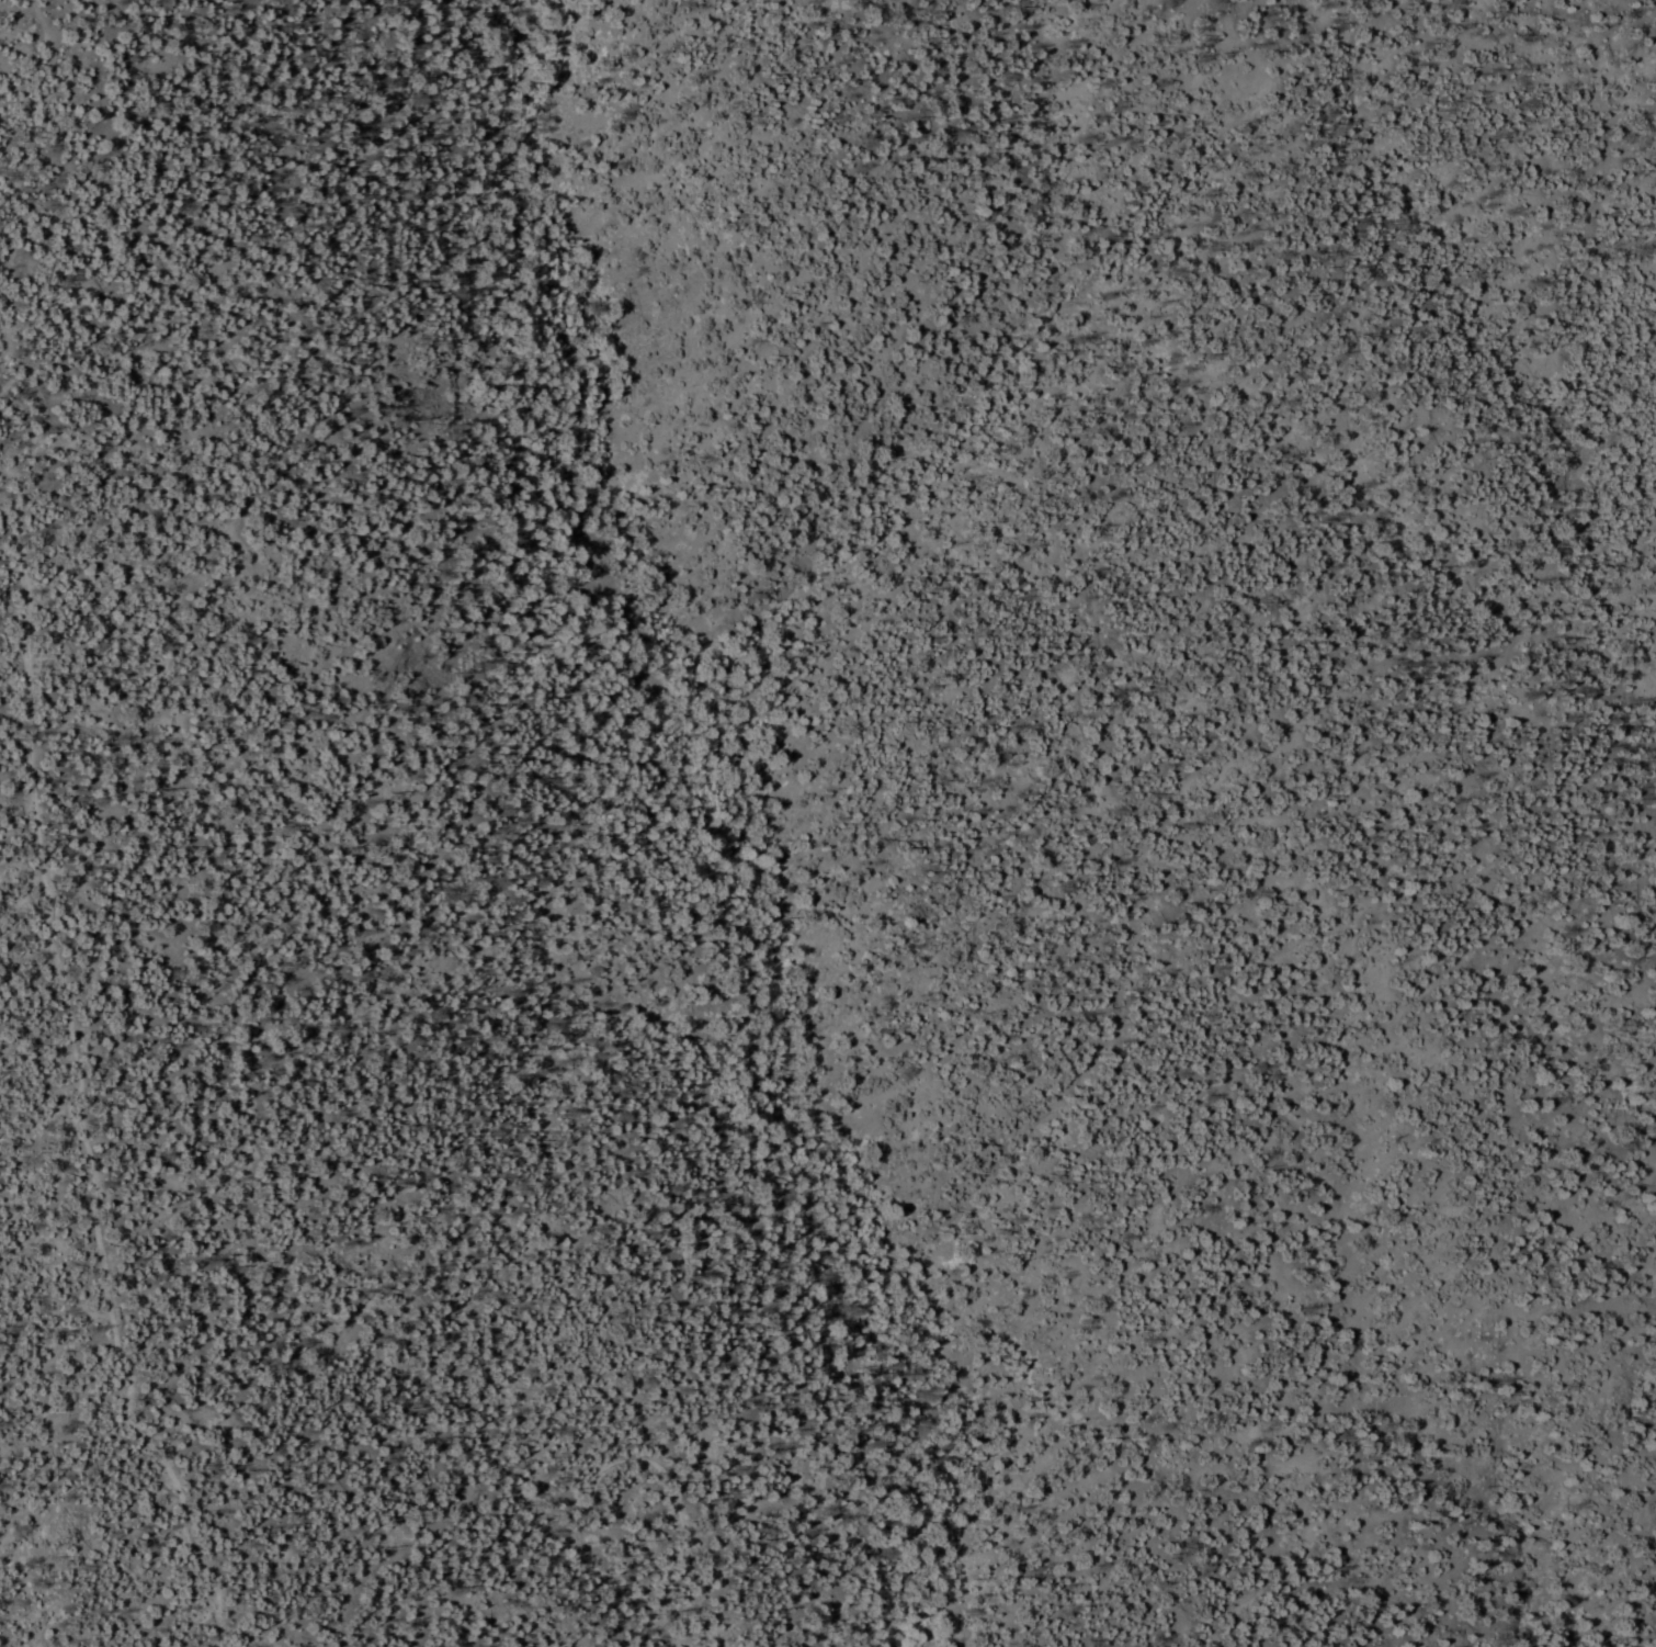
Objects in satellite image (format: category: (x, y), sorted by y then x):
road: (5, 155)
road: (58, 1023)

